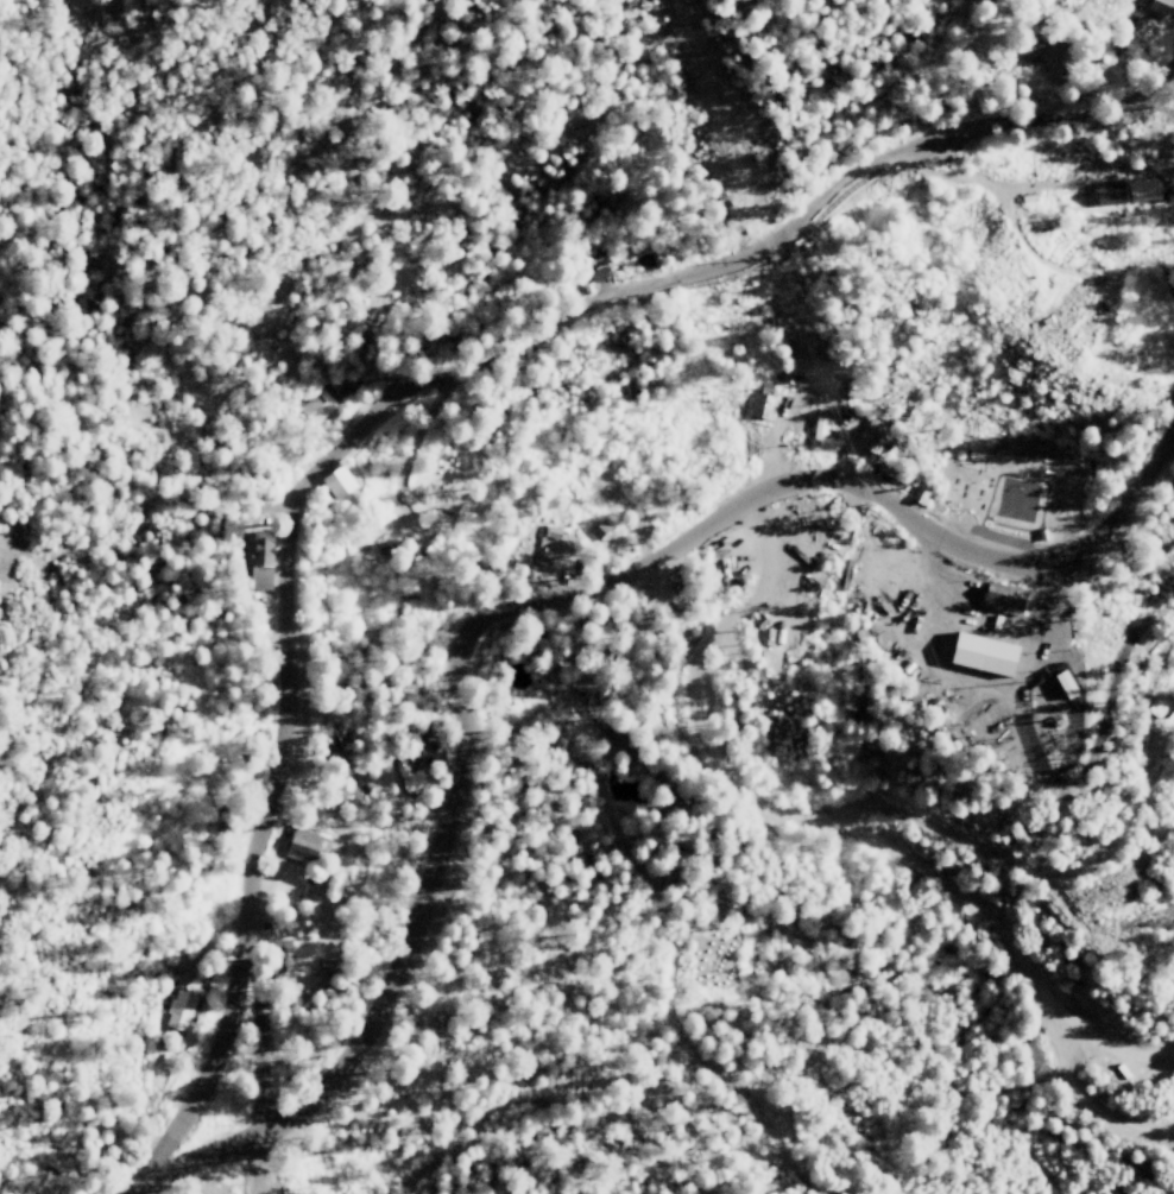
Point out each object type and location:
building: (1056, 62)
road: (957, 177)
building: (1110, 192)
road: (1024, 252)
building: (599, 273)
road: (399, 399)
building: (763, 400)
building: (316, 406)
building: (871, 435)
building: (339, 480)
building: (599, 527)
building: (261, 558)
road: (591, 590)
building: (1004, 598)
building: (985, 652)
building: (1067, 682)
road: (852, 832)
building: (303, 846)
building: (181, 1010)
road: (1115, 1056)
road: (261, 1091)
road: (206, 1158)

